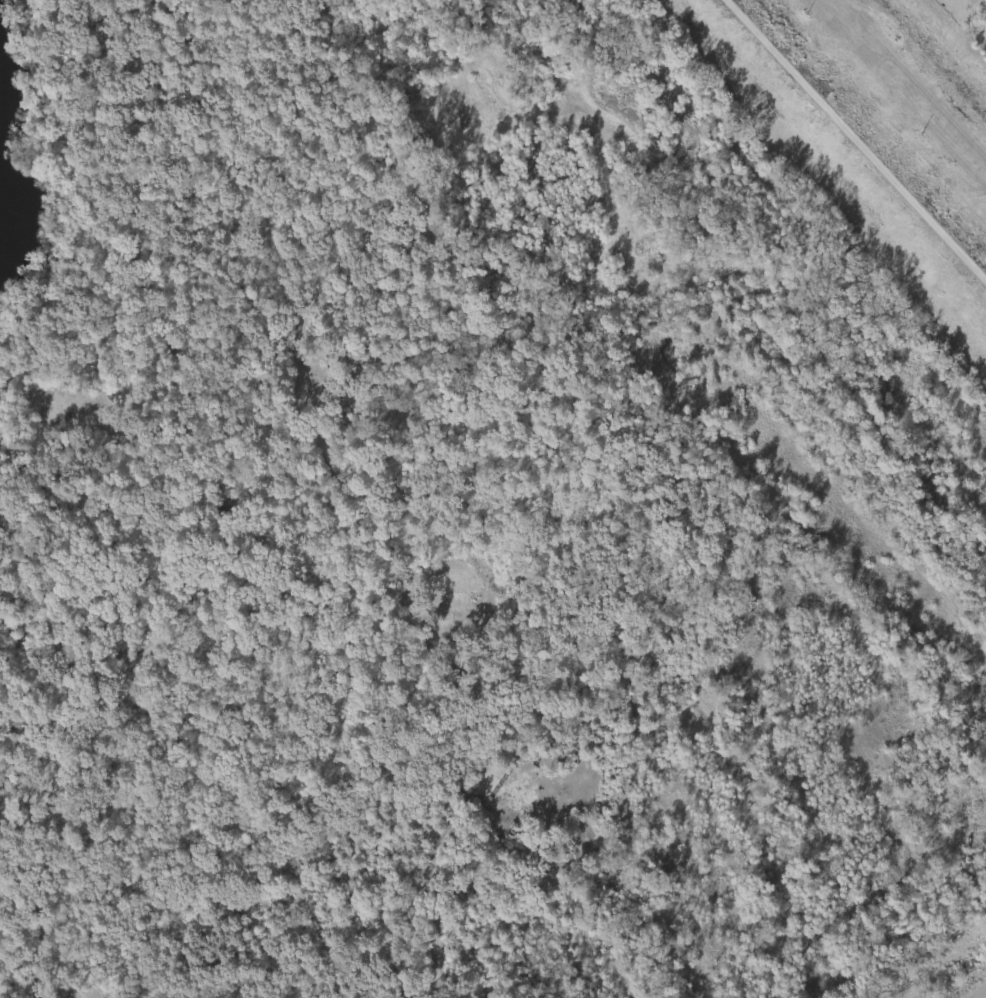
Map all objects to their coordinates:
road: (856, 139)

